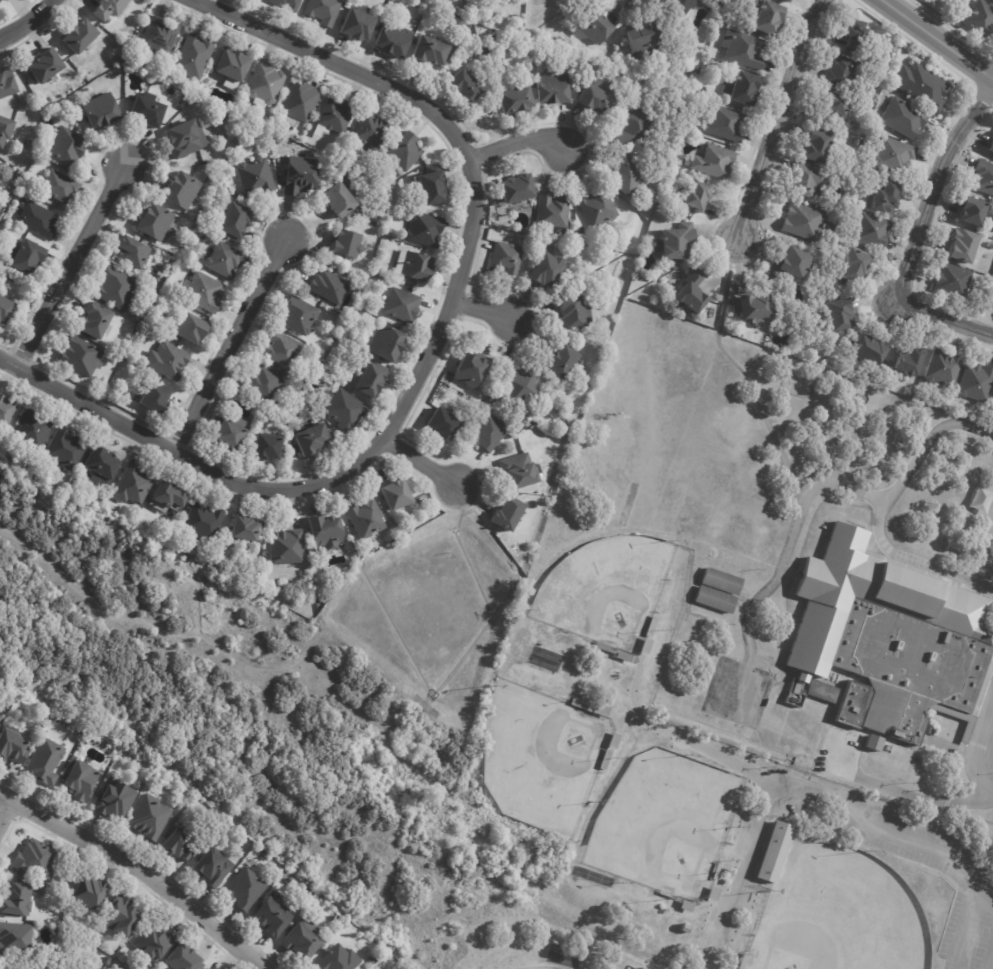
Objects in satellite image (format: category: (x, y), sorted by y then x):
building: (11, 0)
building: (991, 0)
building: (718, 1)
building: (790, 1)
building: (1, 2)
building: (289, 4)
building: (687, 7)
building: (110, 8)
building: (325, 11)
building: (773, 18)
building: (979, 19)
road: (26, 20)
building: (417, 21)
building: (360, 23)
building: (424, 27)
building: (597, 28)
road: (939, 35)
building: (83, 36)
building: (853, 36)
building: (160, 38)
building: (398, 41)
building: (645, 43)
building: (431, 50)
building: (490, 50)
building: (747, 50)
building: (195, 57)
building: (121, 60)
building: (883, 60)
building: (48, 66)
building: (235, 68)
building: (698, 69)
building: (837, 71)
building: (8, 83)
building: (468, 84)
building: (266, 85)
building: (920, 86)
building: (557, 89)
building: (746, 90)
building: (598, 99)
building: (518, 100)
building: (300, 104)
building: (38, 105)
building: (180, 106)
building: (834, 110)
building: (151, 111)
building: (57, 112)
building: (103, 112)
building: (336, 117)
building: (903, 119)
road: (775, 121)
building: (725, 123)
building: (636, 127)
building: (5, 131)
building: (372, 131)
building: (188, 139)
building: (68, 145)
building: (811, 145)
building: (990, 146)
road: (526, 147)
building: (407, 151)
building: (892, 155)
building: (713, 162)
building: (628, 175)
building: (256, 176)
building: (305, 176)
building: (982, 178)
building: (804, 180)
building: (434, 186)
building: (62, 187)
building: (185, 191)
building: (520, 191)
building: (699, 197)
building: (340, 199)
building: (236, 200)
building: (23, 201)
building: (885, 201)
building: (600, 208)
building: (363, 209)
building: (971, 212)
building: (554, 213)
building: (40, 221)
building: (235, 221)
building: (157, 222)
building: (803, 222)
building: (426, 229)
building: (583, 230)
building: (870, 231)
road: (916, 239)
building: (677, 242)
building: (347, 246)
building: (961, 246)
building: (133, 253)
building: (25, 256)
building: (507, 260)
building: (226, 261)
building: (790, 263)
road: (70, 264)
building: (849, 264)
building: (678, 266)
building: (416, 267)
building: (163, 270)
building: (550, 271)
building: (602, 275)
building: (577, 277)
building: (11, 278)
building: (157, 278)
building: (951, 281)
building: (331, 287)
building: (411, 287)
building: (119, 290)
building: (694, 290)
building: (207, 294)
building: (403, 306)
building: (6, 307)
building: (748, 308)
road: (491, 311)
building: (572, 314)
building: (836, 316)
building: (302, 318)
building: (99, 322)
building: (193, 329)
road: (229, 344)
building: (390, 345)
building: (284, 350)
building: (866, 351)
building: (82, 357)
road: (429, 358)
building: (565, 361)
building: (170, 362)
building: (906, 362)
building: (472, 370)
building: (941, 370)
building: (372, 379)
building: (264, 382)
building: (975, 382)
building: (490, 384)
building: (522, 385)
building: (992, 394)
building: (156, 399)
building: (346, 409)
building: (7, 412)
building: (444, 425)
building: (34, 431)
building: (493, 433)
building: (232, 434)
building: (314, 440)
building: (268, 447)
building: (66, 450)
road: (430, 467)
building: (103, 468)
building: (522, 472)
building: (133, 486)
building: (398, 495)
building: (167, 497)
road: (885, 510)
building: (509, 514)
building: (368, 519)
building: (203, 525)
building: (142, 526)
building: (246, 530)
building: (326, 531)
building: (288, 546)
building: (212, 558)
road: (790, 564)
building: (721, 582)
building: (715, 600)
building: (649, 626)
building: (896, 637)
building: (643, 645)
building: (603, 647)
building: (621, 656)
building: (820, 691)
building: (579, 704)
building: (598, 711)
building: (0, 725)
building: (611, 740)
building: (873, 743)
building: (13, 747)
road: (978, 749)
parking lot: (986, 754)
park: (537, 756)
road: (991, 758)
building: (603, 759)
building: (917, 759)
building: (47, 761)
building: (82, 780)
building: (140, 785)
road: (913, 795)
building: (117, 800)
road: (833, 803)
road: (7, 813)
park: (661, 815)
building: (152, 817)
building: (182, 844)
building: (773, 853)
park: (673, 855)
building: (38, 859)
building: (214, 866)
building: (715, 871)
road: (142, 872)
building: (247, 888)
building: (92, 893)
building: (664, 894)
building: (711, 894)
building: (17, 899)
building: (684, 906)
building: (124, 916)
building: (275, 916)
park: (840, 917)
building: (684, 929)
building: (16, 939)
building: (303, 939)
building: (155, 943)
building: (185, 958)
building: (340, 958)
building: (123, 959)
building: (111, 960)
building: (741, 961)
park: (539, 963)
building: (209, 968)

